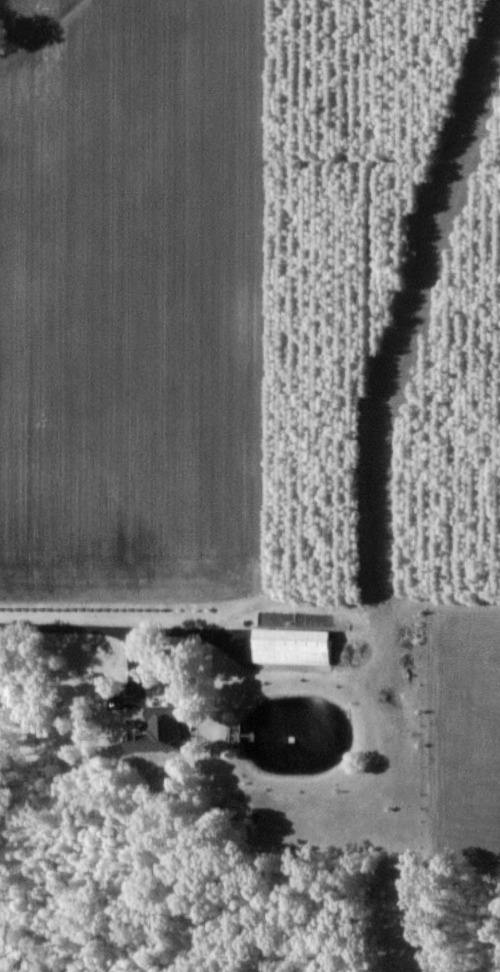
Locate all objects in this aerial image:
road: (124, 629)
building: (294, 644)
building: (157, 735)

